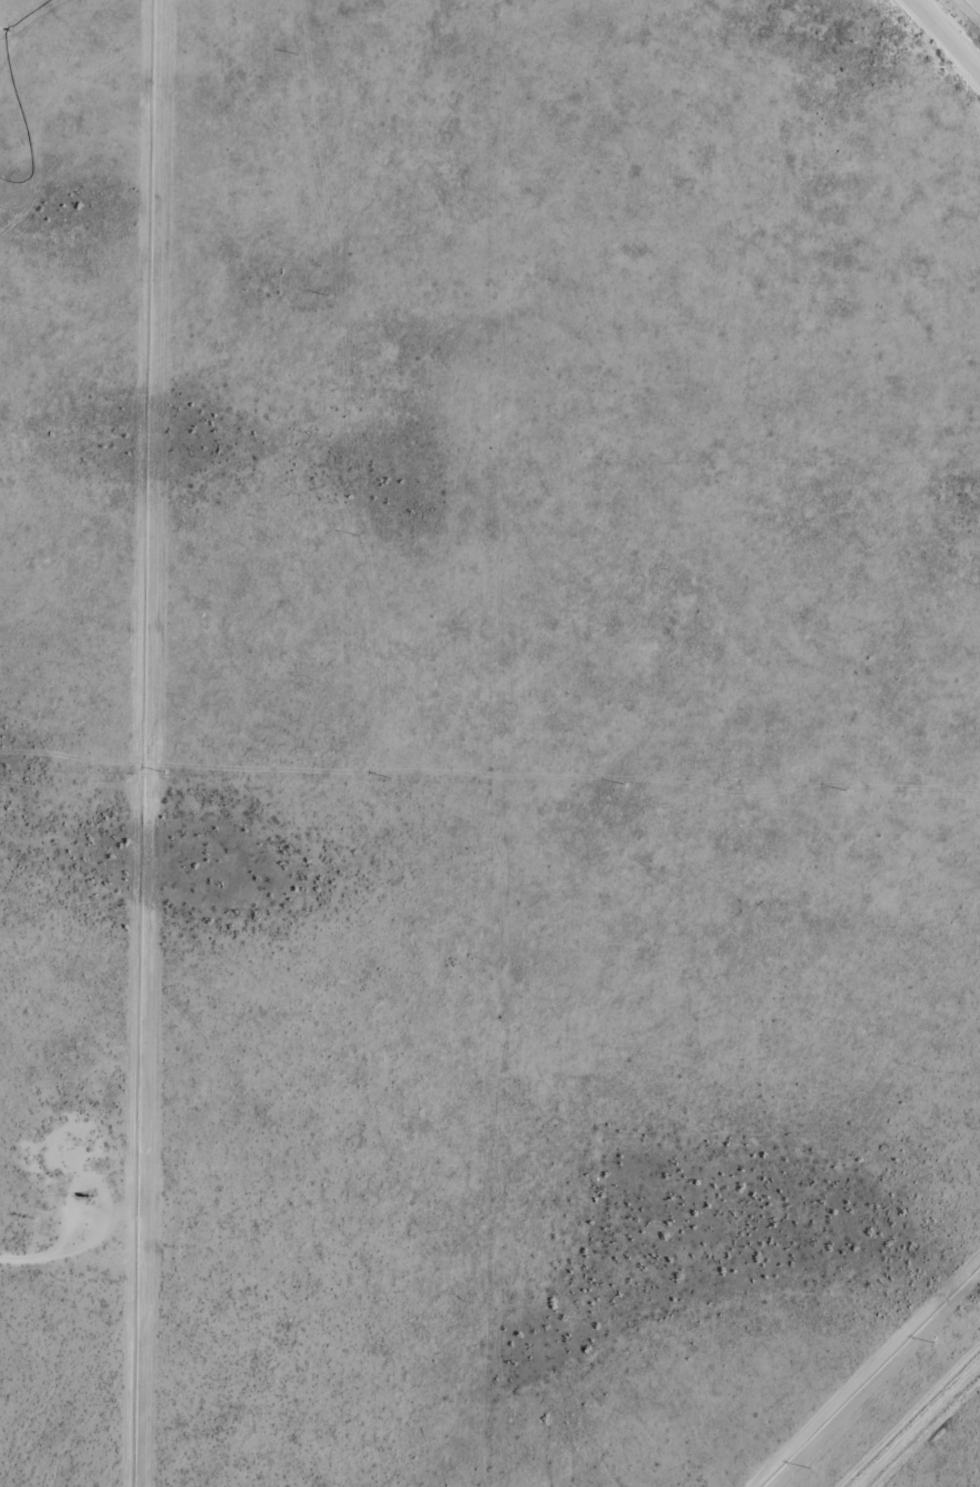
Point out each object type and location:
road: (948, 34)
road: (23, 1251)

